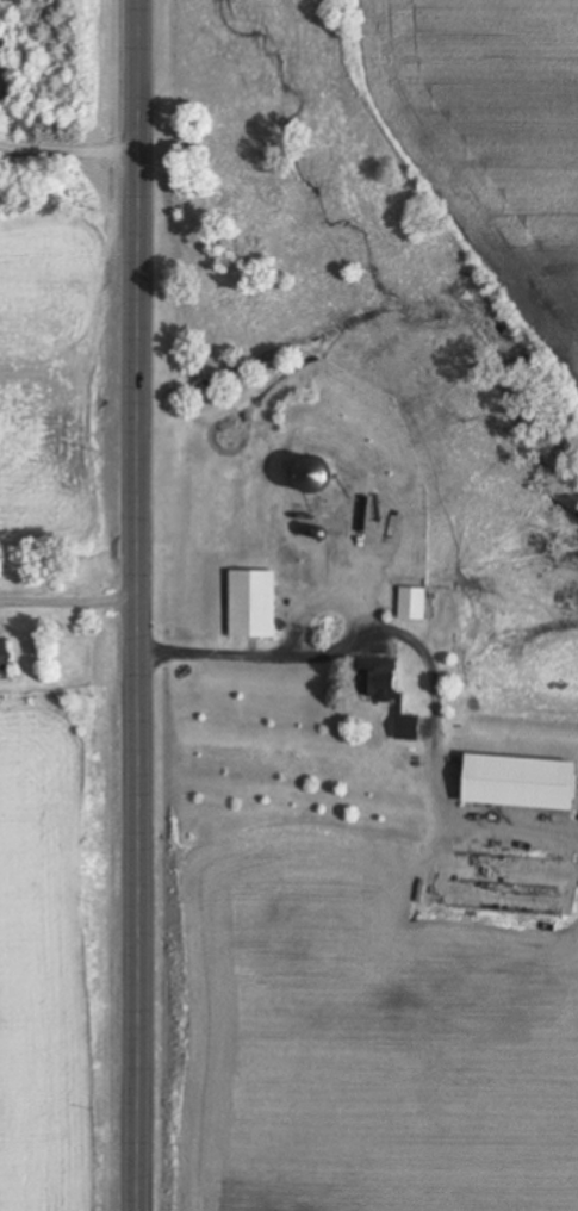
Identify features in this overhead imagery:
building: (383, 507)
building: (410, 604)
road: (70, 605)
road: (143, 605)
building: (249, 605)
building: (2, 658)
building: (383, 694)
building: (515, 783)

